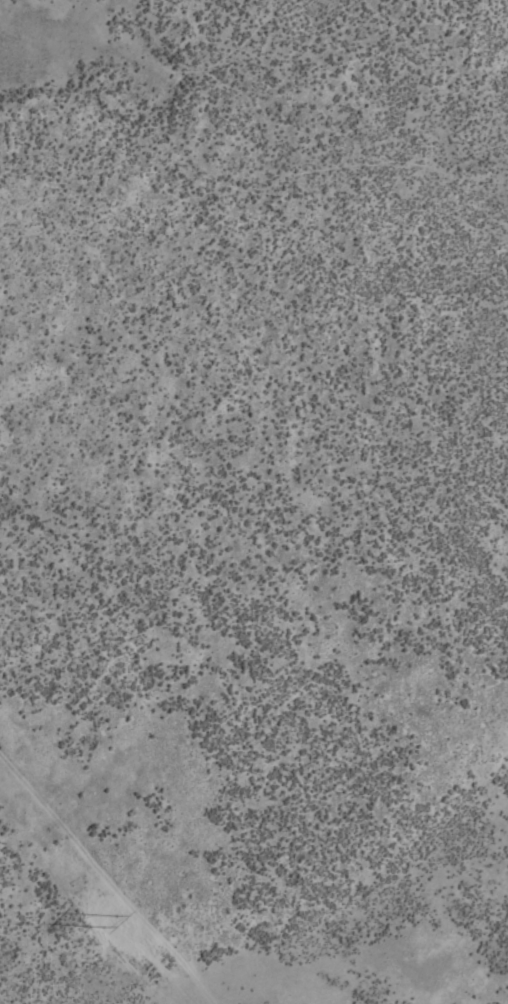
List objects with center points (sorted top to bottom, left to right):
power tower: (101, 913)

